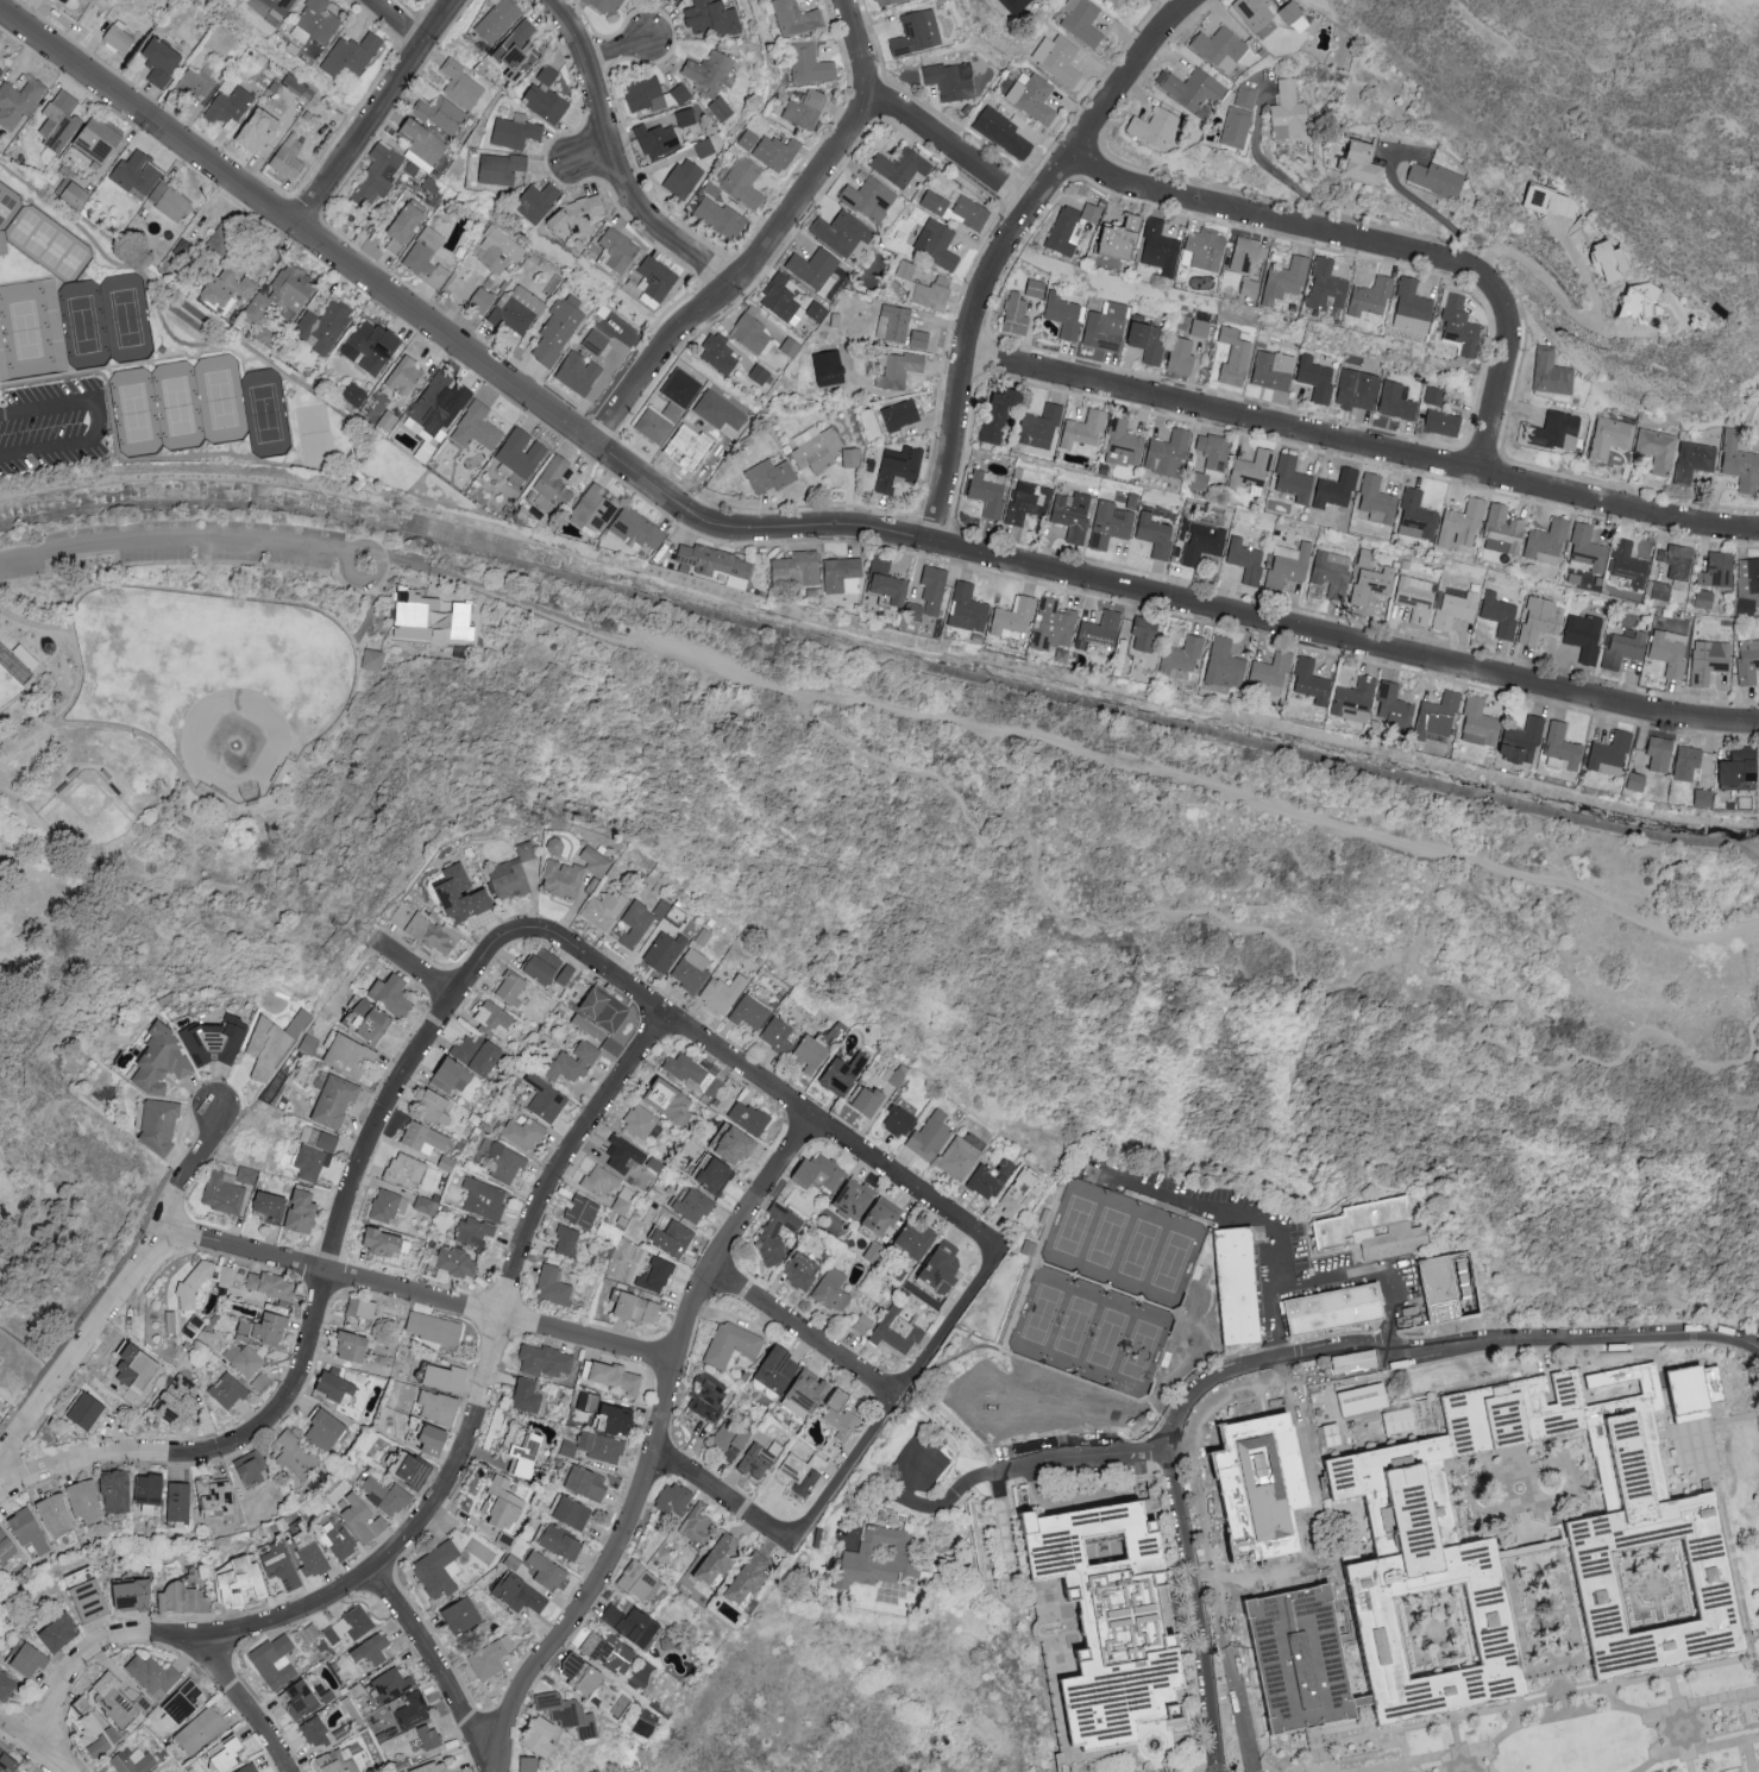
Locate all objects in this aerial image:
building: (674, 0)
building: (886, 2)
building: (1117, 2)
building: (1013, 5)
building: (609, 6)
building: (279, 7)
building: (1252, 15)
building: (714, 17)
building: (1289, 17)
building: (796, 18)
building: (500, 19)
road: (397, 21)
building: (1082, 21)
building: (315, 23)
building: (918, 33)
building: (120, 37)
road: (71, 39)
building: (1217, 48)
building: (521, 50)
road: (618, 50)
building: (0, 56)
building: (351, 56)
building: (1057, 59)
building: (163, 62)
building: (810, 64)
building: (0, 69)
building: (710, 73)
building: (548, 75)
building: (953, 81)
building: (195, 84)
building: (461, 84)
building: (1188, 87)
building: (654, 94)
building: (1244, 96)
building: (1034, 98)
park: (1633, 100)
building: (17, 102)
building: (548, 103)
building: (231, 105)
building: (722, 108)
building: (1286, 108)
building: (806, 109)
road: (373, 111)
building: (441, 115)
building: (686, 118)
building: (62, 120)
building: (1149, 127)
building: (1232, 127)
building: (262, 131)
building: (516, 132)
building: (1004, 132)
building: (102, 139)
building: (659, 140)
building: (750, 140)
building: (425, 146)
building: (705, 149)
road: (954, 150)
building: (778, 152)
building: (289, 156)
road: (592, 158)
building: (1357, 161)
road: (616, 163)
building: (903, 166)
building: (502, 168)
building: (137, 174)
building: (378, 175)
building: (685, 177)
building: (1432, 178)
building: (746, 182)
road: (1287, 182)
building: (871, 199)
building: (170, 201)
building: (1544, 201)
park: (2, 202)
building: (539, 202)
building: (936, 202)
road: (1426, 209)
building: (972, 213)
building: (582, 214)
building: (1088, 214)
building: (722, 216)
building: (406, 227)
building: (842, 232)
building: (1111, 239)
building: (222, 241)
road: (775, 241)
building: (937, 244)
road: (1010, 244)
park: (48, 246)
road: (1377, 247)
building: (1156, 249)
building: (1202, 249)
building: (620, 250)
building: (497, 251)
building: (1244, 253)
building: (427, 256)
building: (1602, 262)
building: (813, 268)
building: (1283, 279)
road: (26, 281)
building: (655, 281)
building: (231, 287)
building: (924, 287)
building: (1323, 287)
building: (1032, 288)
building: (1248, 288)
building: (285, 293)
building: (1368, 296)
building: (482, 300)
building: (783, 300)
building: (1408, 308)
road: (1569, 309)
building: (520, 312)
road: (158, 314)
building: (1012, 315)
building: (1062, 315)
park: (126, 320)
building: (893, 322)
park: (82, 326)
building: (325, 326)
building: (1457, 326)
building: (1102, 327)
building: (559, 329)
building: (752, 331)
park: (25, 332)
building: (923, 340)
building: (597, 341)
building: (1145, 341)
building: (373, 347)
building: (791, 347)
building: (721, 354)
building: (1177, 354)
building: (1230, 356)
road: (133, 364)
building: (903, 366)
building: (1270, 370)
building: (580, 372)
building: (1547, 372)
building: (407, 376)
building: (1312, 379)
building: (1352, 390)
building: (357, 395)
building: (1431, 397)
park: (221, 401)
building: (1393, 401)
building: (441, 402)
park: (177, 407)
building: (721, 411)
park: (136, 414)
park: (265, 415)
building: (902, 415)
building: (994, 415)
building: (659, 422)
building: (1438, 422)
road: (96, 423)
building: (478, 427)
building: (1036, 427)
parking lot: (52, 429)
building: (1080, 433)
building: (1609, 436)
park: (314, 438)
building: (817, 448)
road: (1363, 448)
building: (1654, 450)
building: (698, 452)
building: (1163, 452)
building: (520, 455)
road: (184, 458)
building: (853, 458)
building: (1692, 460)
building: (1739, 467)
building: (899, 469)
building: (1246, 469)
building: (771, 476)
building: (1289, 479)
building: (553, 485)
building: (984, 491)
building: (1332, 492)
building: (1372, 499)
building: (1025, 502)
building: (597, 507)
building: (1069, 515)
building: (1413, 515)
building: (1458, 522)
building: (1107, 524)
road: (806, 528)
building: (639, 529)
building: (1500, 530)
building: (1151, 535)
road: (182, 538)
building: (1200, 542)
building: (1544, 542)
parking lot: (174, 548)
building: (1583, 554)
building: (1243, 560)
building: (1673, 561)
building: (1286, 565)
building: (1625, 565)
building: (797, 568)
building: (1716, 568)
building: (843, 576)
building: (1370, 584)
building: (1746, 585)
building: (892, 587)
building: (928, 598)
building: (1414, 598)
road: (369, 605)
building: (963, 609)
building: (1453, 609)
building: (0, 611)
building: (1496, 615)
building: (1010, 616)
building: (433, 618)
building: (1538, 620)
building: (1051, 626)
building: (1097, 631)
building: (1141, 634)
building: (1581, 636)
building: (1621, 649)
building: (1667, 652)
building: (1177, 655)
building: (1746, 659)
building: (375, 660)
building: (1705, 661)
building: (1220, 664)
building: (1267, 674)
road: (78, 679)
building: (1306, 684)
park: (213, 685)
park: (10, 693)
road: (351, 697)
building: (1350, 702)
building: (1390, 706)
building: (1436, 710)
building: (1475, 724)
building: (1516, 742)
building: (1558, 746)
road: (1062, 749)
park: (221, 750)
building: (1606, 753)
building: (1656, 753)
building: (1683, 762)
building: (1732, 769)
building: (1631, 781)
building: (1698, 798)
park: (86, 813)
building: (557, 847)
road: (1753, 848)
building: (526, 852)
building: (596, 861)
building: (563, 878)
building: (510, 879)
building: (464, 894)
park: (1193, 910)
building: (604, 911)
building: (641, 920)
building: (428, 931)
building: (665, 951)
building: (551, 968)
building: (691, 970)
road: (423, 974)
road: (1298, 975)
building: (511, 988)
building: (723, 993)
building: (392, 994)
building: (607, 1010)
building: (749, 1013)
building: (370, 1019)
building: (495, 1019)
building: (778, 1035)
building: (214, 1041)
building: (271, 1045)
building: (479, 1052)
building: (811, 1054)
building: (350, 1056)
building: (162, 1061)
building: (577, 1061)
building: (848, 1072)
building: (693, 1075)
building: (452, 1076)
road: (760, 1080)
building: (547, 1098)
building: (872, 1099)
building: (337, 1100)
building: (672, 1100)
building: (436, 1107)
building: (750, 1117)
building: (641, 1121)
building: (900, 1121)
building: (161, 1124)
building: (526, 1133)
building: (931, 1135)
building: (426, 1138)
building: (735, 1143)
building: (315, 1154)
building: (624, 1154)
building: (960, 1157)
building: (503, 1160)
building: (406, 1169)
building: (823, 1171)
park: (2, 1174)
building: (715, 1175)
building: (991, 1179)
building: (601, 1181)
building: (224, 1193)
building: (1020, 1194)
building: (624, 1196)
building: (485, 1199)
building: (857, 1199)
building: (389, 1205)
building: (695, 1205)
building: (275, 1207)
building: (304, 1211)
building: (583, 1211)
building: (886, 1218)
road: (1245, 1223)
building: (1353, 1223)
building: (476, 1230)
building: (671, 1233)
building: (777, 1233)
building: (919, 1238)
building: (387, 1240)
building: (567, 1240)
building: (1396, 1242)
building: (458, 1262)
building: (944, 1268)
building: (802, 1269)
road: (1375, 1273)
building: (655, 1275)
building: (226, 1276)
building: (195, 1284)
building: (272, 1284)
building: (554, 1286)
building: (1236, 1287)
building: (1444, 1288)
building: (833, 1289)
park: (1102, 1289)
road: (119, 1292)
road: (419, 1293)
road: (321, 1302)
building: (640, 1307)
building: (363, 1311)
building: (1334, 1313)
building: (863, 1324)
building: (266, 1327)
building: (435, 1327)
building: (898, 1331)
road: (810, 1334)
road: (1579, 1343)
building: (733, 1344)
building: (356, 1345)
road: (1378, 1358)
building: (244, 1359)
building: (139, 1368)
building: (780, 1368)
road: (1251, 1368)
building: (618, 1376)
building: (447, 1377)
building: (260, 1382)
building: (338, 1385)
road: (1268, 1387)
building: (230, 1390)
building: (813, 1390)
building: (527, 1396)
building: (710, 1397)
building: (1367, 1399)
building: (181, 1401)
road: (903, 1401)
building: (441, 1407)
building: (89, 1409)
building: (0, 1416)
building: (617, 1419)
building: (1400, 1420)
building: (841, 1421)
building: (327, 1431)
building: (1331, 1434)
road: (1552, 1438)
building: (438, 1439)
building: (729, 1440)
road: (657, 1445)
building: (604, 1446)
building: (295, 1456)
building: (528, 1457)
road: (1110, 1457)
building: (759, 1459)
building: (252, 1468)
building: (413, 1468)
building: (803, 1475)
building: (590, 1482)
building: (151, 1488)
road: (447, 1489)
building: (118, 1491)
building: (220, 1495)
building: (387, 1495)
road: (953, 1497)
building: (677, 1498)
building: (84, 1501)
building: (181, 1501)
building: (508, 1503)
road: (728, 1503)
road: (1068, 1506)
building: (577, 1513)
building: (364, 1519)
building: (57, 1521)
building: (696, 1523)
building: (29, 1532)
road: (1327, 1534)
road: (1011, 1539)
building: (339, 1541)
building: (565, 1541)
building: (7, 1547)
building: (881, 1557)
building: (720, 1558)
building: (1487, 1566)
building: (440, 1569)
building: (548, 1571)
building: (750, 1578)
building: (641, 1579)
building: (241, 1581)
building: (519, 1592)
building: (88, 1595)
building: (130, 1596)
building: (183, 1598)
road: (1196, 1606)
road: (1218, 1606)
building: (466, 1615)
building: (632, 1623)
building: (351, 1625)
building: (1108, 1625)
building: (59, 1633)
road: (1754, 1640)
building: (372, 1650)
building: (608, 1651)
building: (491, 1657)
building: (29, 1660)
building: (276, 1660)
road: (1074, 1660)
road: (439, 1671)
building: (155, 1674)
building: (586, 1674)
road: (1632, 1682)
building: (6, 1684)
building: (392, 1684)
building: (118, 1699)
building: (187, 1699)
building: (303, 1699)
road: (251, 1701)
building: (400, 1702)
building: (414, 1710)
road: (1568, 1722)
road: (1682, 1722)
building: (202, 1730)
road: (1321, 1730)
building: (316, 1732)
road: (1557, 1733)
building: (429, 1736)
building: (546, 1736)
road: (1457, 1742)
fountain: (1154, 1746)
road: (30, 1749)
road: (1327, 1749)
road: (1661, 1752)
building: (228, 1754)
road: (1064, 1758)
building: (347, 1759)
road: (1176, 1759)
building: (8, 1761)
building: (132, 1761)
building: (532, 1764)
building: (436, 1767)
building: (251, 1768)

